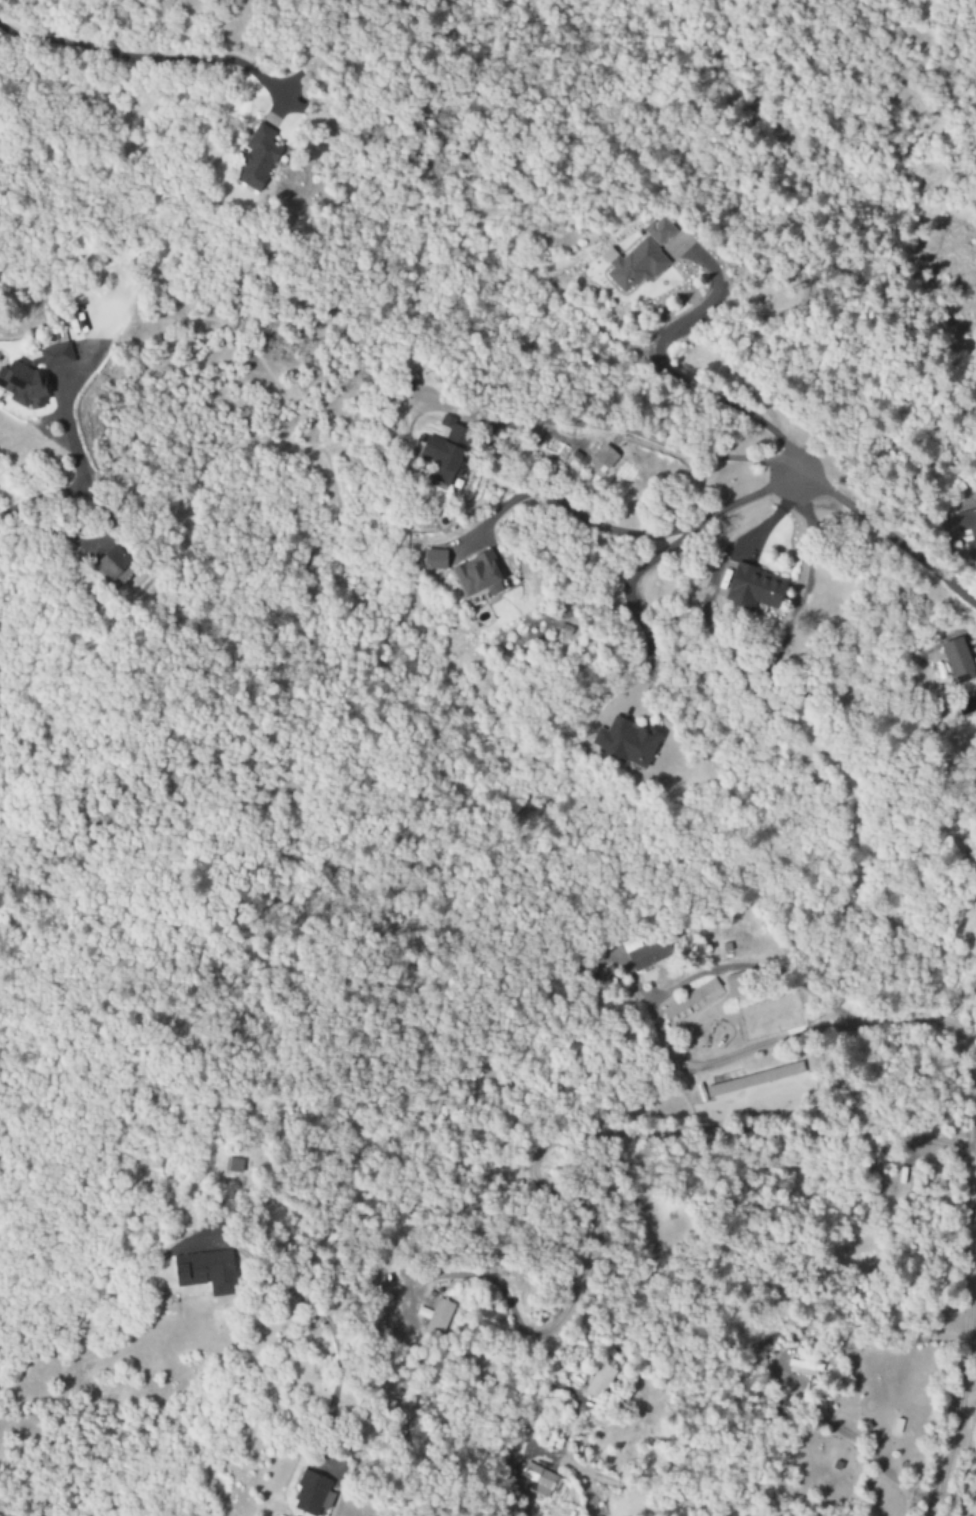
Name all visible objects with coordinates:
building: (254, 159)
building: (660, 231)
building: (637, 266)
building: (31, 375)
building: (446, 452)
building: (598, 461)
road: (41, 501)
building: (967, 523)
road: (889, 534)
building: (435, 559)
building: (110, 562)
building: (478, 575)
building: (753, 588)
building: (958, 661)
building: (625, 742)
building: (649, 952)
building: (734, 986)
building: (754, 1080)
building: (225, 1165)
building: (195, 1273)
building: (436, 1317)
road: (969, 1325)
building: (804, 1368)
building: (599, 1381)
building: (538, 1479)
building: (306, 1495)
building: (569, 1513)

